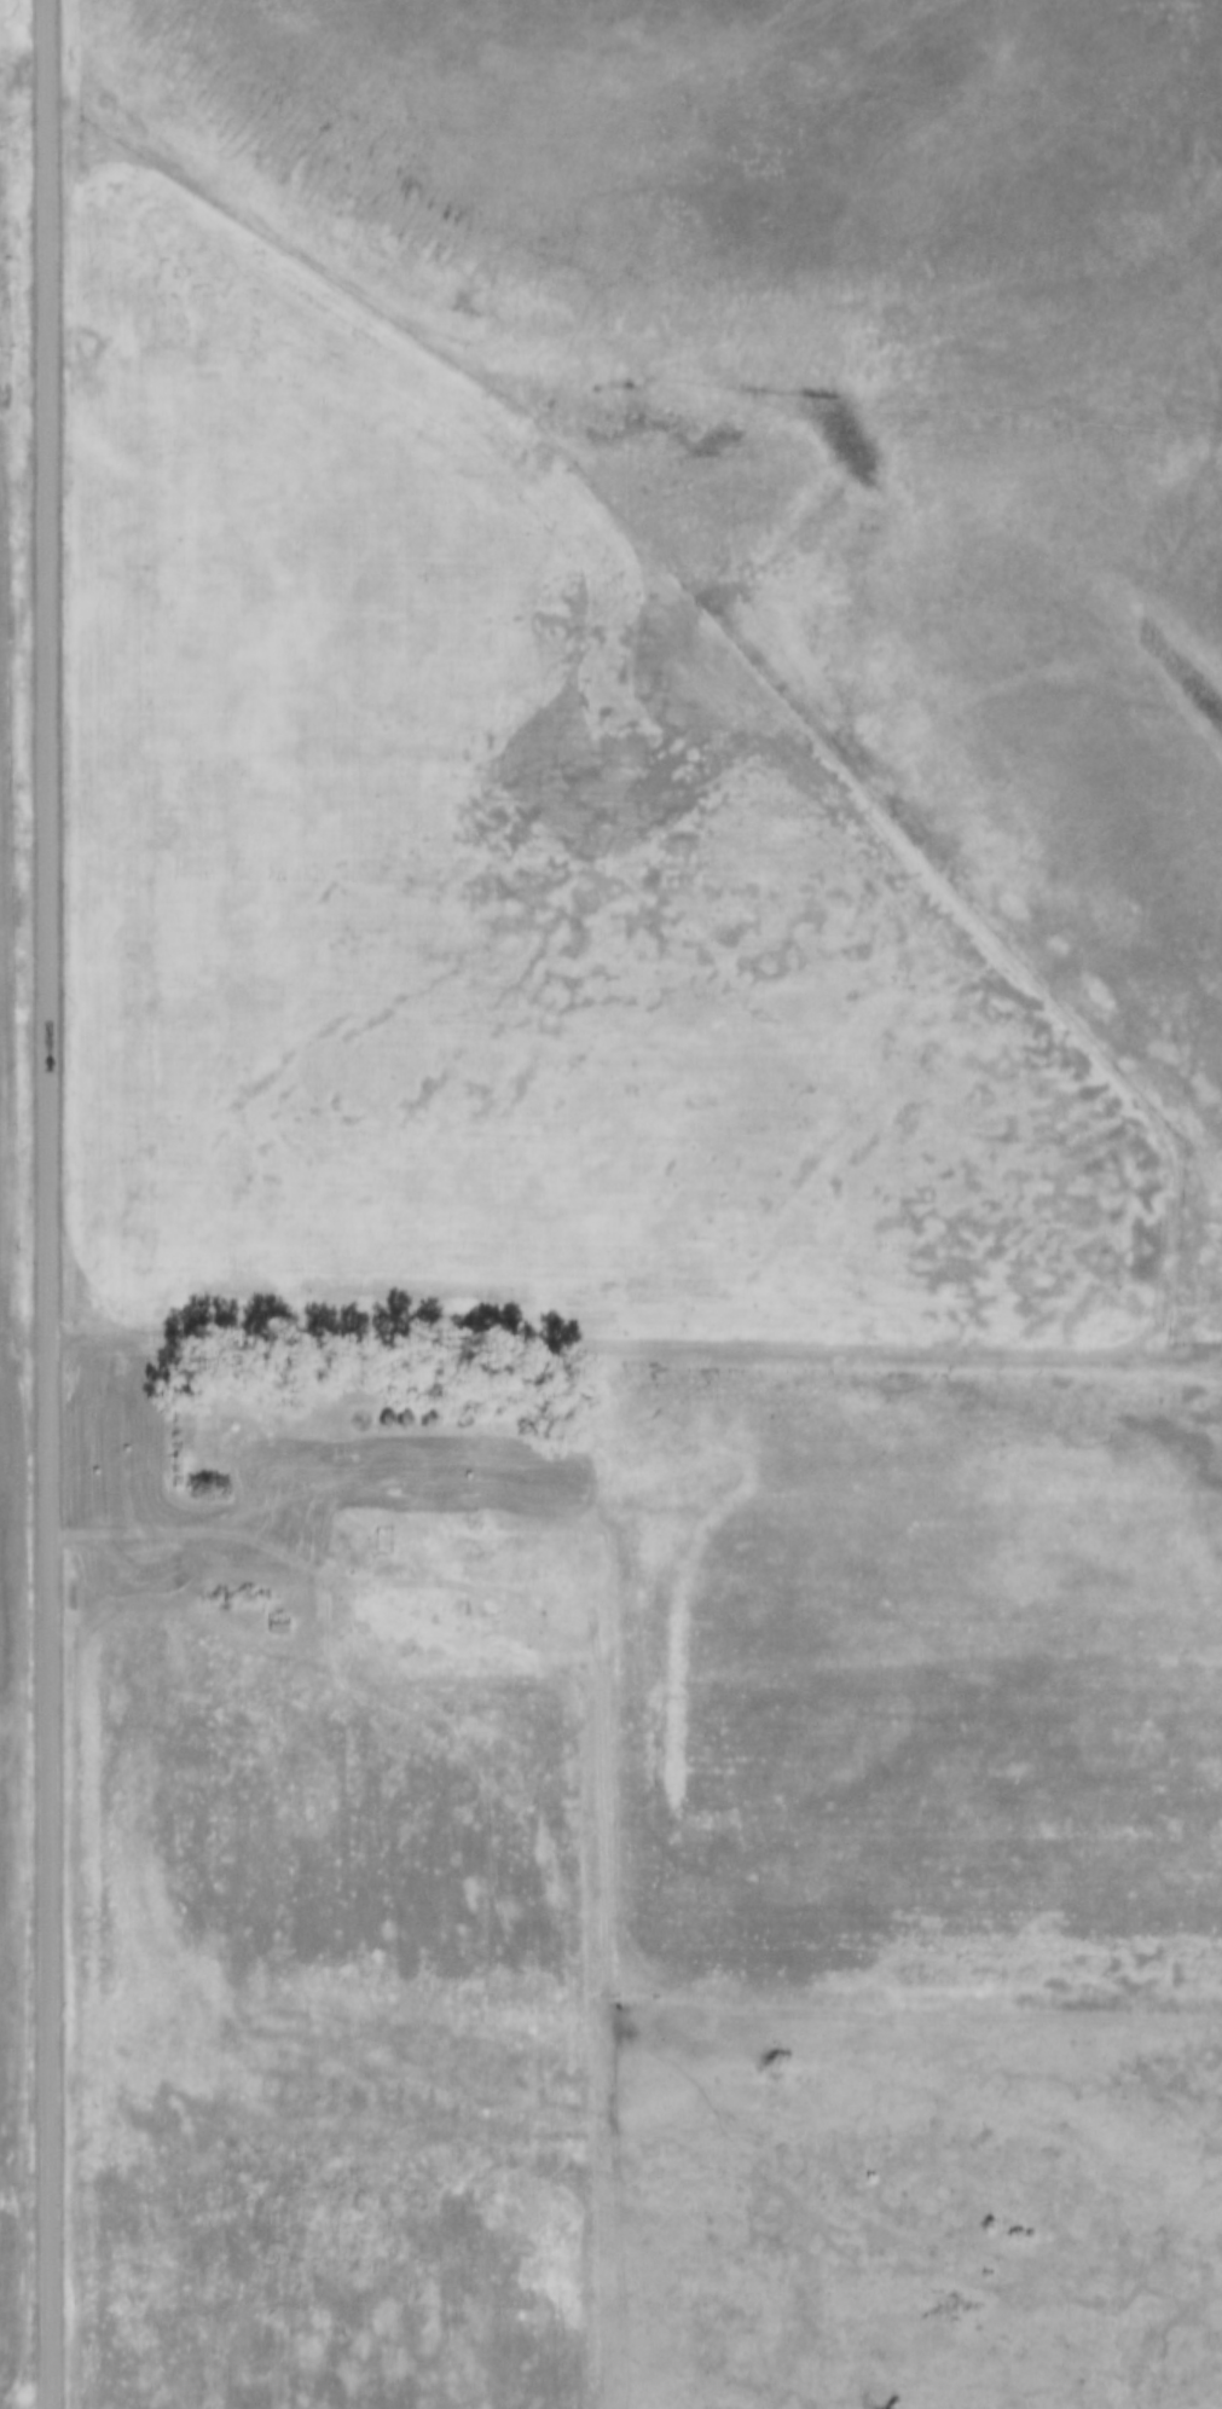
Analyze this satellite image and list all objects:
road: (46, 1204)
road: (633, 1353)
road: (202, 1522)
building: (278, 1627)

